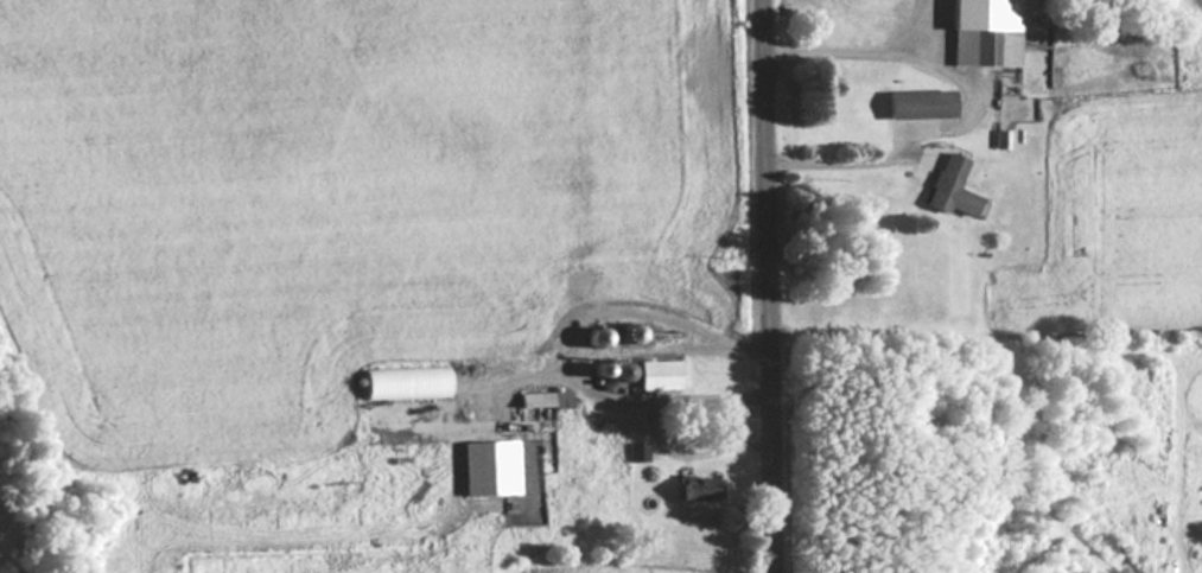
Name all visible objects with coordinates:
building: (986, 47)
building: (917, 113)
building: (929, 154)
building: (952, 187)
road: (772, 286)
building: (597, 336)
building: (621, 371)
building: (659, 375)
building: (406, 383)
building: (559, 399)
building: (637, 451)
building: (491, 466)
building: (701, 489)

